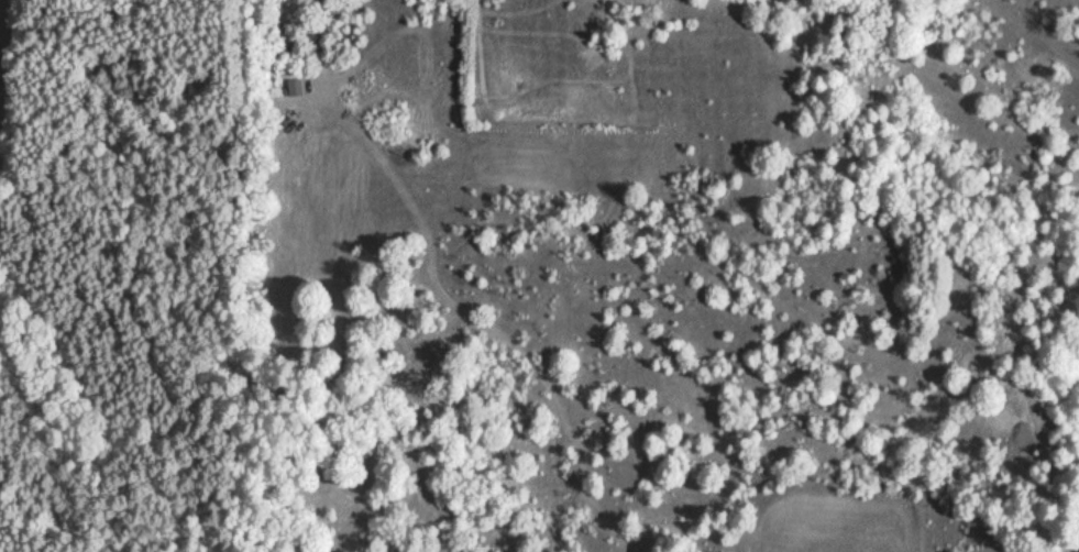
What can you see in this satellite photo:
building: (291, 89)

